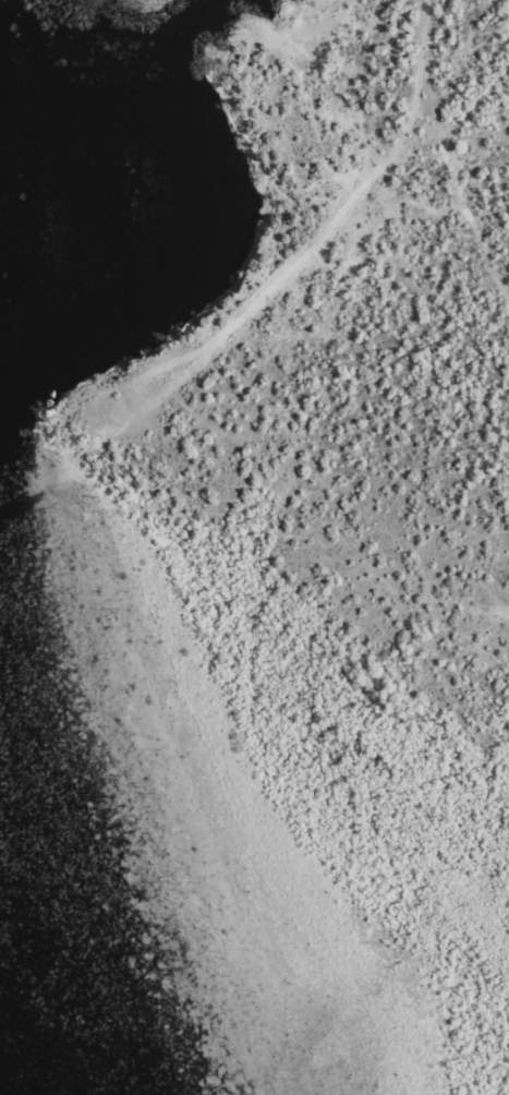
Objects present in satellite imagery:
road: (445, 163)
river: (217, 217)

